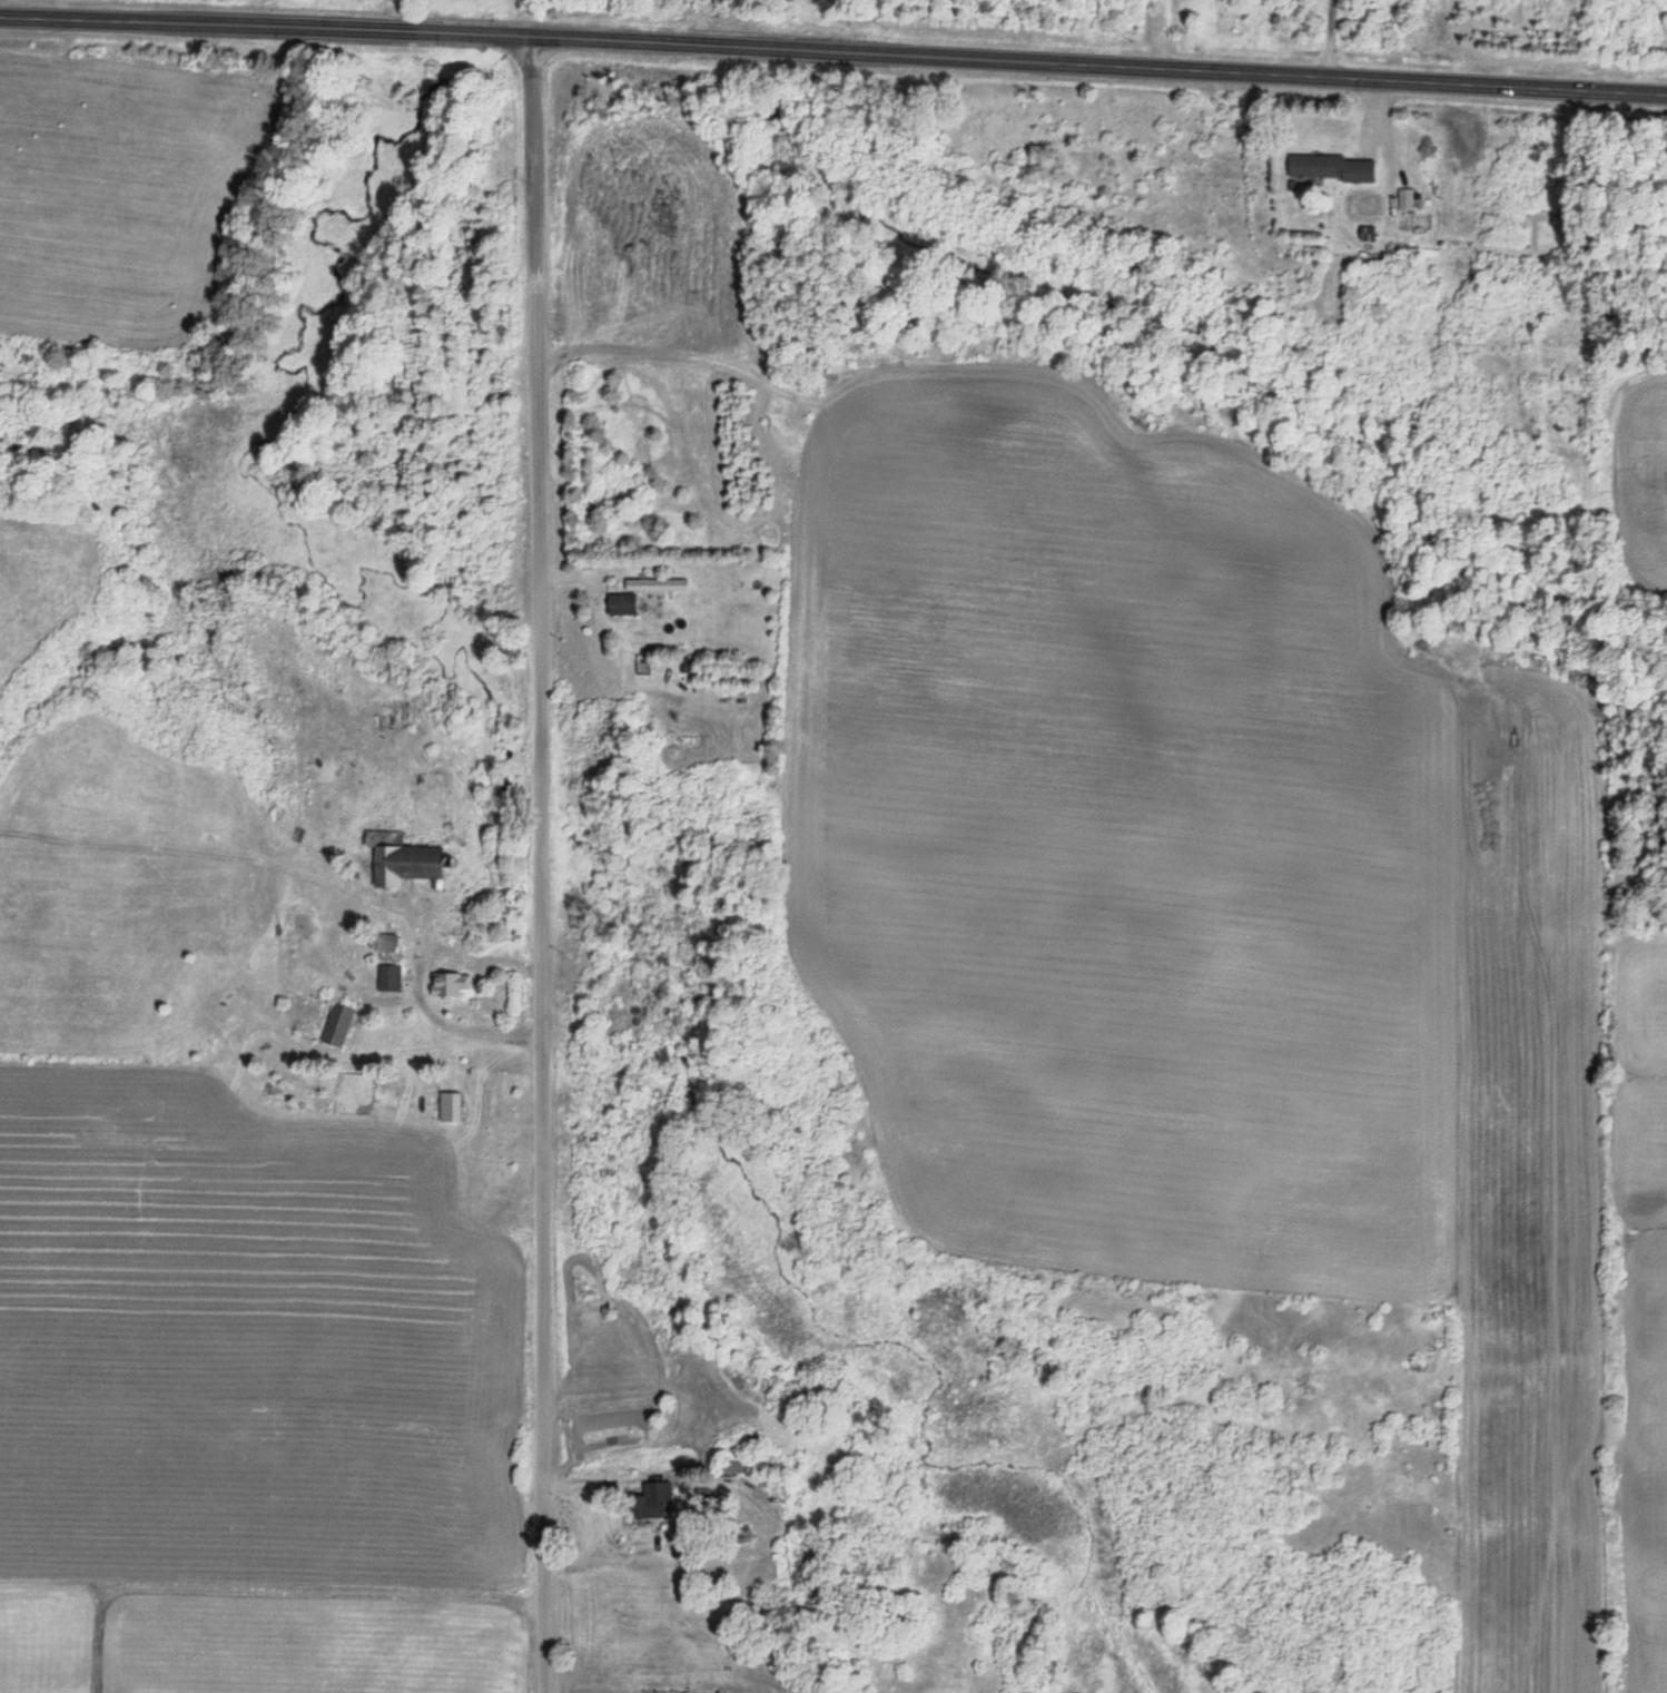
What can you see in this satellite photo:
road: (833, 55)
building: (1332, 169)
building: (655, 587)
building: (621, 606)
building: (401, 862)
road: (536, 866)
building: (382, 944)
building: (389, 980)
building: (451, 985)
building: (338, 1025)
building: (450, 1109)
building: (733, 1468)
building: (652, 1503)
building: (802, 1568)

